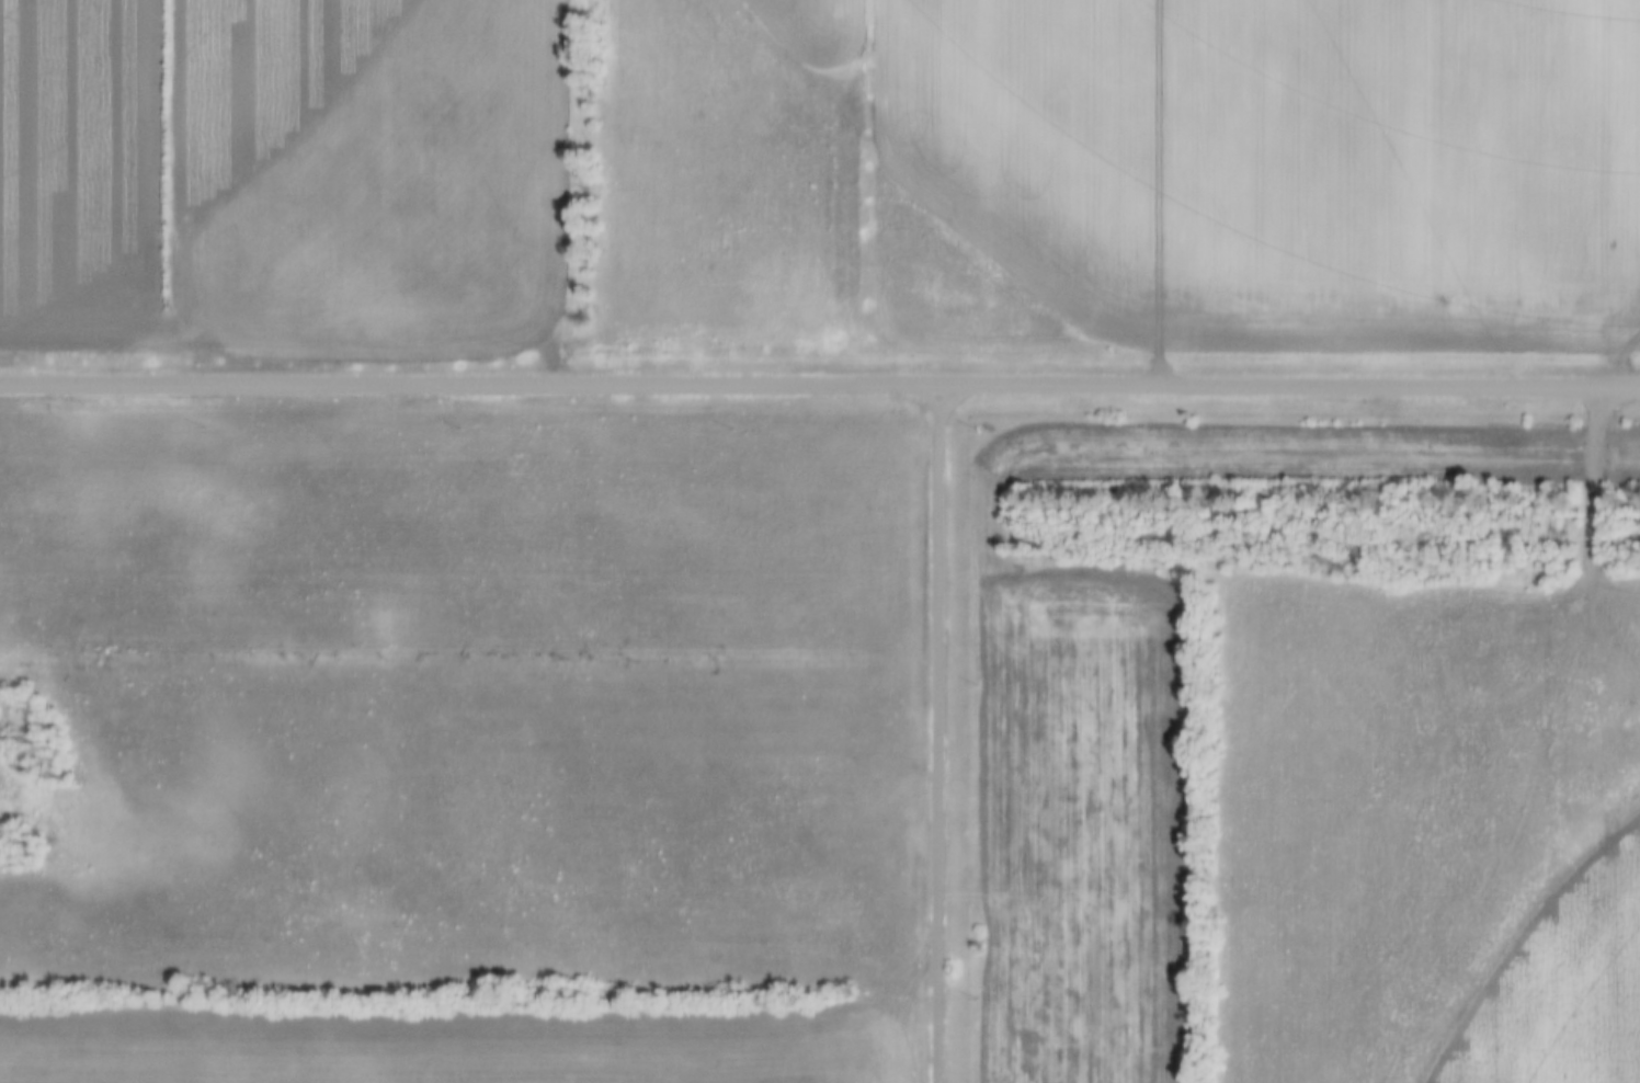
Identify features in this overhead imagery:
road: (1154, 193)
building: (872, 294)
road: (1618, 353)
road: (819, 385)
road: (1588, 501)
road: (934, 733)

